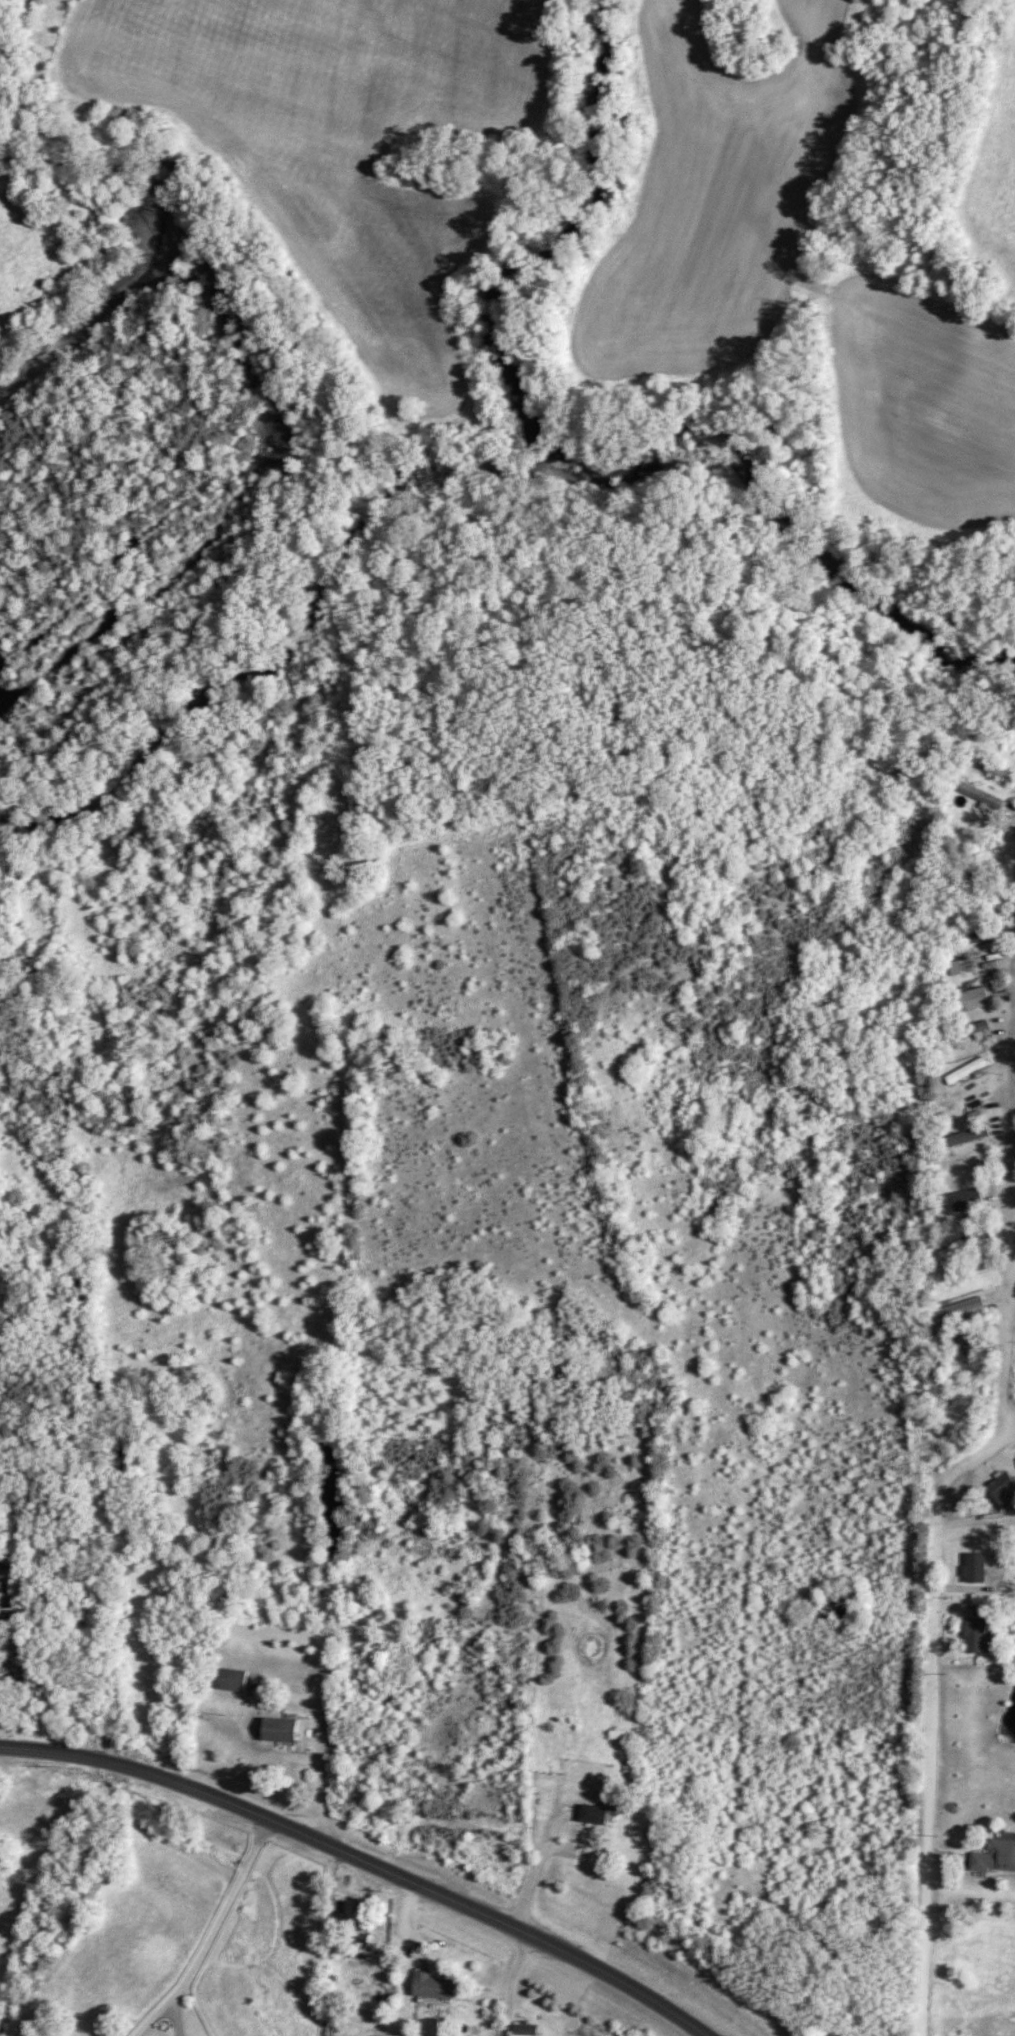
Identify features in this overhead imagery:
building: (995, 772)
building: (981, 791)
building: (972, 878)
building: (970, 940)
building: (973, 1001)
building: (966, 1032)
building: (967, 1072)
building: (965, 1138)
road: (1011, 1202)
building: (969, 1203)
building: (965, 1239)
building: (962, 1310)
building: (960, 1342)
building: (1005, 1492)
building: (978, 1568)
building: (980, 1635)
building: (234, 1681)
road: (931, 1716)
building: (282, 1730)
road: (336, 1772)
building: (598, 1815)
building: (996, 1858)
road: (360, 1863)
road: (534, 1877)
road: (209, 1935)
building: (358, 1950)
building: (434, 1987)
building: (527, 2031)

